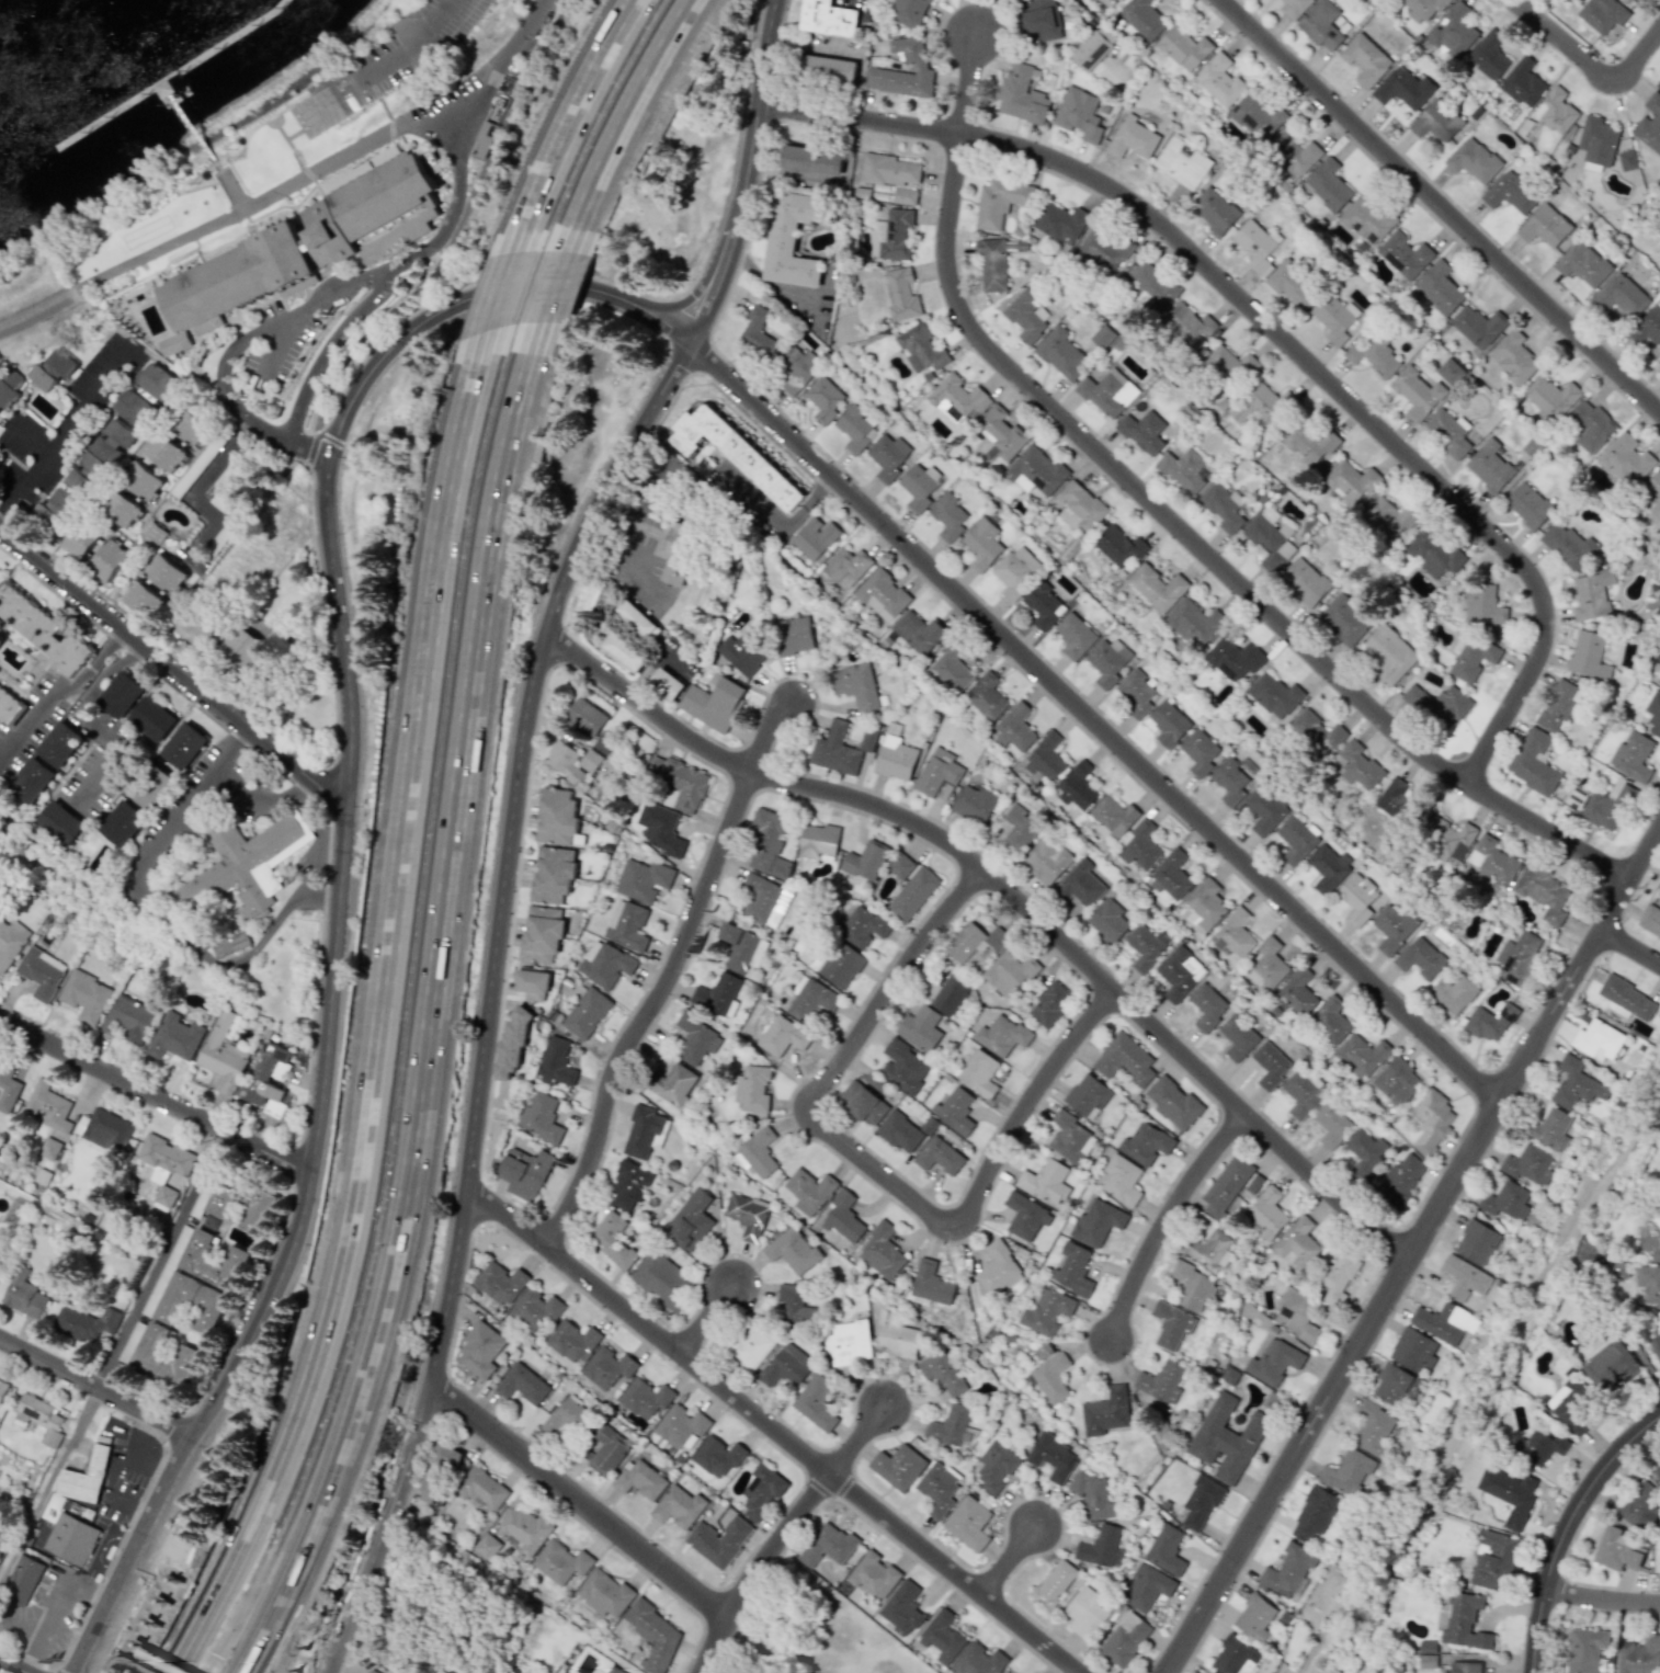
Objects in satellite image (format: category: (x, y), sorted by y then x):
building: (1295, 8)
building: (1423, 10)
building: (908, 12)
building: (1603, 15)
building: (828, 18)
building: (1142, 19)
building: (1041, 20)
building: (1321, 25)
river: (43, 30)
building: (1453, 31)
road: (1566, 42)
road: (410, 43)
building: (1093, 48)
building: (1184, 48)
building: (1489, 55)
road: (1638, 56)
building: (1365, 59)
building: (918, 66)
building: (827, 69)
road: (171, 73)
building: (1219, 80)
building: (1523, 82)
road: (969, 83)
building: (1658, 84)
building: (1403, 88)
building: (1022, 95)
building: (322, 107)
building: (1558, 111)
building: (1079, 114)
building: (1257, 118)
building: (1436, 121)
road: (624, 123)
building: (1649, 123)
road: (570, 125)
road: (191, 127)
building: (1133, 138)
building: (482, 139)
building: (1598, 143)
building: (1293, 152)
building: (811, 159)
building: (1474, 160)
building: (1627, 160)
building: (1182, 163)
road: (743, 174)
building: (894, 175)
building: (1328, 185)
building: (1510, 192)
road: (234, 194)
road: (273, 201)
building: (1000, 202)
road: (1441, 206)
building: (1214, 209)
building: (1659, 213)
building: (1366, 219)
building: (1060, 223)
building: (1545, 226)
road: (455, 227)
building: (894, 235)
building: (793, 238)
building: (309, 239)
building: (1257, 246)
building: (1103, 250)
road: (424, 251)
building: (1405, 254)
building: (992, 263)
building: (1583, 264)
road: (703, 275)
road: (763, 282)
building: (1292, 285)
building: (1440, 288)
building: (1151, 289)
road: (552, 292)
road: (499, 295)
building: (902, 295)
building: (1621, 296)
road: (39, 307)
building: (1027, 316)
building: (1334, 318)
building: (1187, 323)
road: (1273, 323)
building: (1478, 326)
building: (1648, 327)
building: (757, 332)
road: (249, 334)
building: (1103, 335)
building: (174, 341)
building: (920, 348)
building: (1061, 353)
building: (1373, 356)
building: (1513, 356)
building: (1229, 366)
building: (796, 368)
building: (49, 371)
building: (1449, 372)
building: (155, 382)
building: (7, 385)
building: (1108, 392)
building: (1417, 394)
building: (1551, 397)
building: (823, 398)
building: (955, 398)
building: (1262, 405)
building: (134, 408)
road: (65, 425)
building: (187, 426)
building: (1591, 426)
building: (856, 430)
building: (1144, 432)
building: (1448, 432)
building: (120, 433)
building: (1002, 433)
road: (23, 440)
building: (1310, 442)
road: (311, 447)
building: (163, 452)
building: (734, 453)
building: (889, 456)
building: (1625, 460)
building: (93, 465)
building: (1489, 466)
building: (1185, 469)
building: (1036, 471)
building: (141, 480)
building: (1350, 481)
building: (919, 486)
building: (1655, 491)
road: (192, 492)
road: (752, 498)
road: (806, 501)
building: (1221, 505)
building: (1528, 505)
building: (1080, 507)
building: (121, 508)
building: (55, 509)
building: (948, 516)
building: (1389, 517)
building: (154, 532)
building: (815, 537)
building: (1270, 538)
building: (79, 543)
building: (981, 544)
building: (680, 545)
building: (1568, 545)
building: (1118, 547)
road: (1213, 553)
building: (1434, 555)
building: (109, 560)
road: (624, 560)
building: (845, 567)
building: (0, 571)
building: (1015, 571)
building: (164, 572)
building: (1305, 581)
building: (1157, 587)
building: (883, 594)
building: (1592, 594)
building: (143, 600)
building: (1482, 604)
building: (1043, 605)
building: (1346, 617)
building: (637, 618)
building: (1194, 624)
building: (42, 630)
building: (919, 633)
building: (196, 635)
building: (793, 636)
building: (1075, 636)
building: (241, 648)
building: (744, 650)
building: (624, 651)
building: (1389, 655)
building: (1589, 655)
building: (1233, 658)
building: (1471, 658)
building: (1108, 660)
road: (655, 668)
building: (951, 668)
road: (171, 669)
building: (1659, 683)
building: (666, 684)
building: (855, 685)
building: (1137, 693)
building: (120, 695)
building: (1274, 695)
building: (986, 696)
road: (60, 697)
building: (714, 704)
building: (1439, 704)
building: (1557, 705)
building: (10, 707)
building: (1653, 713)
building: (584, 716)
building: (152, 718)
road: (1093, 719)
road: (82, 720)
building: (1168, 724)
building: (1015, 727)
building: (1317, 731)
road: (769, 735)
road: (225, 739)
building: (59, 743)
building: (183, 746)
building: (834, 750)
building: (1198, 752)
building: (1631, 756)
building: (896, 759)
building: (1043, 759)
building: (589, 761)
building: (565, 762)
building: (1534, 762)
building: (1358, 765)
building: (939, 774)
building: (31, 779)
road: (240, 779)
building: (1235, 779)
building: (680, 782)
building: (150, 786)
road: (302, 786)
building: (1078, 786)
building: (1576, 797)
building: (1398, 801)
building: (974, 804)
building: (1607, 805)
road: (305, 807)
building: (1266, 807)
road: (171, 811)
building: (556, 817)
building: (1113, 817)
building: (122, 822)
building: (59, 823)
building: (660, 829)
building: (1019, 829)
building: (1447, 838)
building: (1297, 839)
building: (818, 842)
building: (769, 843)
building: (1140, 846)
building: (866, 861)
building: (1047, 861)
road: (340, 862)
building: (1492, 862)
building: (242, 864)
building: (900, 865)
building: (1329, 868)
building: (553, 874)
building: (1171, 875)
building: (644, 879)
building: (1080, 884)
building: (1544, 892)
building: (913, 894)
road: (1010, 894)
building: (1358, 898)
building: (765, 899)
road: (315, 902)
building: (1205, 904)
building: (1650, 920)
building: (1108, 921)
building: (627, 925)
building: (861, 926)
building: (1395, 926)
building: (541, 934)
building: (1233, 934)
building: (997, 938)
building: (965, 941)
building: (11, 942)
building: (229, 943)
building: (1146, 946)
building: (742, 948)
road: (1630, 952)
building: (1517, 957)
building: (1420, 958)
building: (604, 964)
building: (841, 965)
road: (229, 966)
building: (1266, 966)
building: (41, 972)
building: (1010, 972)
building: (1179, 972)
building: (532, 983)
building: (1298, 992)
building: (946, 993)
building: (1453, 993)
building: (84, 995)
building: (718, 995)
building: (810, 999)
road: (493, 1001)
building: (1628, 1003)
building: (1050, 1004)
building: (1207, 1006)
building: (587, 1012)
road: (651, 1012)
road: (432, 1014)
road: (384, 1017)
building: (1334, 1018)
building: (128, 1020)
building: (1491, 1022)
building: (921, 1028)
building: (781, 1035)
building: (1002, 1035)
building: (175, 1036)
building: (1238, 1037)
building: (696, 1039)
building: (1599, 1040)
building: (511, 1046)
building: (221, 1054)
building: (1362, 1056)
building: (1124, 1059)
building: (555, 1062)
building: (1270, 1065)
building: (903, 1067)
building: (979, 1073)
building: (266, 1081)
building: (1397, 1081)
building: (672, 1085)
building: (1580, 1085)
building: (8, 1089)
building: (752, 1089)
building: (1303, 1093)
building: (1088, 1094)
road: (155, 1096)
building: (863, 1103)
building: (1174, 1103)
building: (48, 1106)
building: (955, 1109)
building: (541, 1117)
building: (1432, 1119)
building: (1332, 1124)
building: (929, 1125)
building: (104, 1129)
building: (1551, 1129)
building: (643, 1131)
building: (899, 1131)
building: (1069, 1137)
building: (1145, 1143)
building: (49, 1148)
building: (757, 1152)
building: (1366, 1152)
building: (939, 1156)
building: (163, 1160)
building: (1528, 1164)
road: (872, 1166)
building: (524, 1172)
building: (1122, 1180)
building: (1400, 1181)
building: (1046, 1182)
building: (629, 1185)
building: (1230, 1185)
building: (809, 1191)
building: (162, 1197)
building: (1506, 1200)
building: (259, 1207)
building: (1267, 1213)
building: (747, 1216)
building: (1025, 1216)
building: (843, 1218)
building: (690, 1220)
road: (1169, 1221)
building: (1098, 1222)
road: (504, 1227)
building: (1649, 1237)
building: (612, 1239)
building: (1476, 1242)
building: (1297, 1243)
building: (793, 1250)
building: (1209, 1250)
road: (1414, 1250)
building: (882, 1252)
building: (212, 1260)
building: (998, 1268)
building: (1072, 1270)
building: (1615, 1270)
building: (1339, 1277)
building: (1465, 1278)
building: (662, 1279)
building: (500, 1283)
building: (1649, 1284)
building: (1192, 1286)
building: (23, 1294)
building: (795, 1300)
building: (190, 1304)
building: (535, 1309)
building: (1046, 1311)
building: (1296, 1313)
road: (707, 1321)
building: (1444, 1322)
building: (83, 1323)
building: (1171, 1324)
building: (896, 1336)
building: (572, 1341)
building: (849, 1342)
building: (750, 1346)
building: (1656, 1346)
building: (481, 1347)
building: (1413, 1350)
road: (112, 1356)
building: (163, 1357)
building: (1273, 1362)
building: (786, 1366)
building: (1608, 1366)
building: (607, 1367)
building: (942, 1372)
building: (1051, 1378)
building: (1161, 1380)
building: (522, 1384)
building: (1396, 1385)
building: (2, 1388)
road: (96, 1390)
building: (644, 1398)
building: (816, 1402)
building: (1571, 1405)
building: (1106, 1411)
building: (565, 1416)
building: (38, 1418)
building: (680, 1425)
building: (951, 1426)
building: (1374, 1427)
building: (1230, 1435)
building: (1539, 1446)
building: (606, 1450)
building: (717, 1456)
building: (1051, 1457)
road: (810, 1459)
building: (898, 1466)
building: (996, 1467)
building: (1657, 1470)
building: (1346, 1472)
building: (437, 1473)
building: (86, 1477)
road: (112, 1477)
building: (640, 1479)
building: (481, 1488)
building: (937, 1489)
building: (762, 1490)
building: (1509, 1493)
building: (1093, 1496)
road: (580, 1502)
building: (1201, 1503)
building: (678, 1506)
building: (1641, 1506)
building: (1314, 1515)
building: (968, 1523)
road: (1567, 1529)
building: (524, 1530)
road: (786, 1534)
building: (70, 1538)
building: (718, 1540)
building: (828, 1545)
road: (102, 1546)
building: (487, 1546)
building: (1100, 1546)
building: (1164, 1549)
building: (1621, 1550)
building: (1657, 1558)
building: (560, 1561)
road: (1010, 1561)
building: (1493, 1561)
building: (1287, 1570)
building: (873, 1574)
building: (22, 1580)
building: (1054, 1583)
building: (1147, 1586)
building: (604, 1592)
road: (55, 1600)
road: (1603, 1600)
building: (901, 1607)
building: (1087, 1612)
building: (1255, 1617)
building: (1465, 1621)
park: (814, 1629)
building: (653, 1635)
building: (942, 1637)
building: (1125, 1639)
building: (1585, 1649)
building: (1639, 1655)
building: (1236, 1657)
road: (127, 1658)
building: (979, 1660)
building: (1428, 1661)
road: (12, 1666)
building: (1465, 1666)
building: (376, 1670)
building: (614, 1670)
building: (442, 1671)
building: (1207, 1671)
building: (1004, 1672)

